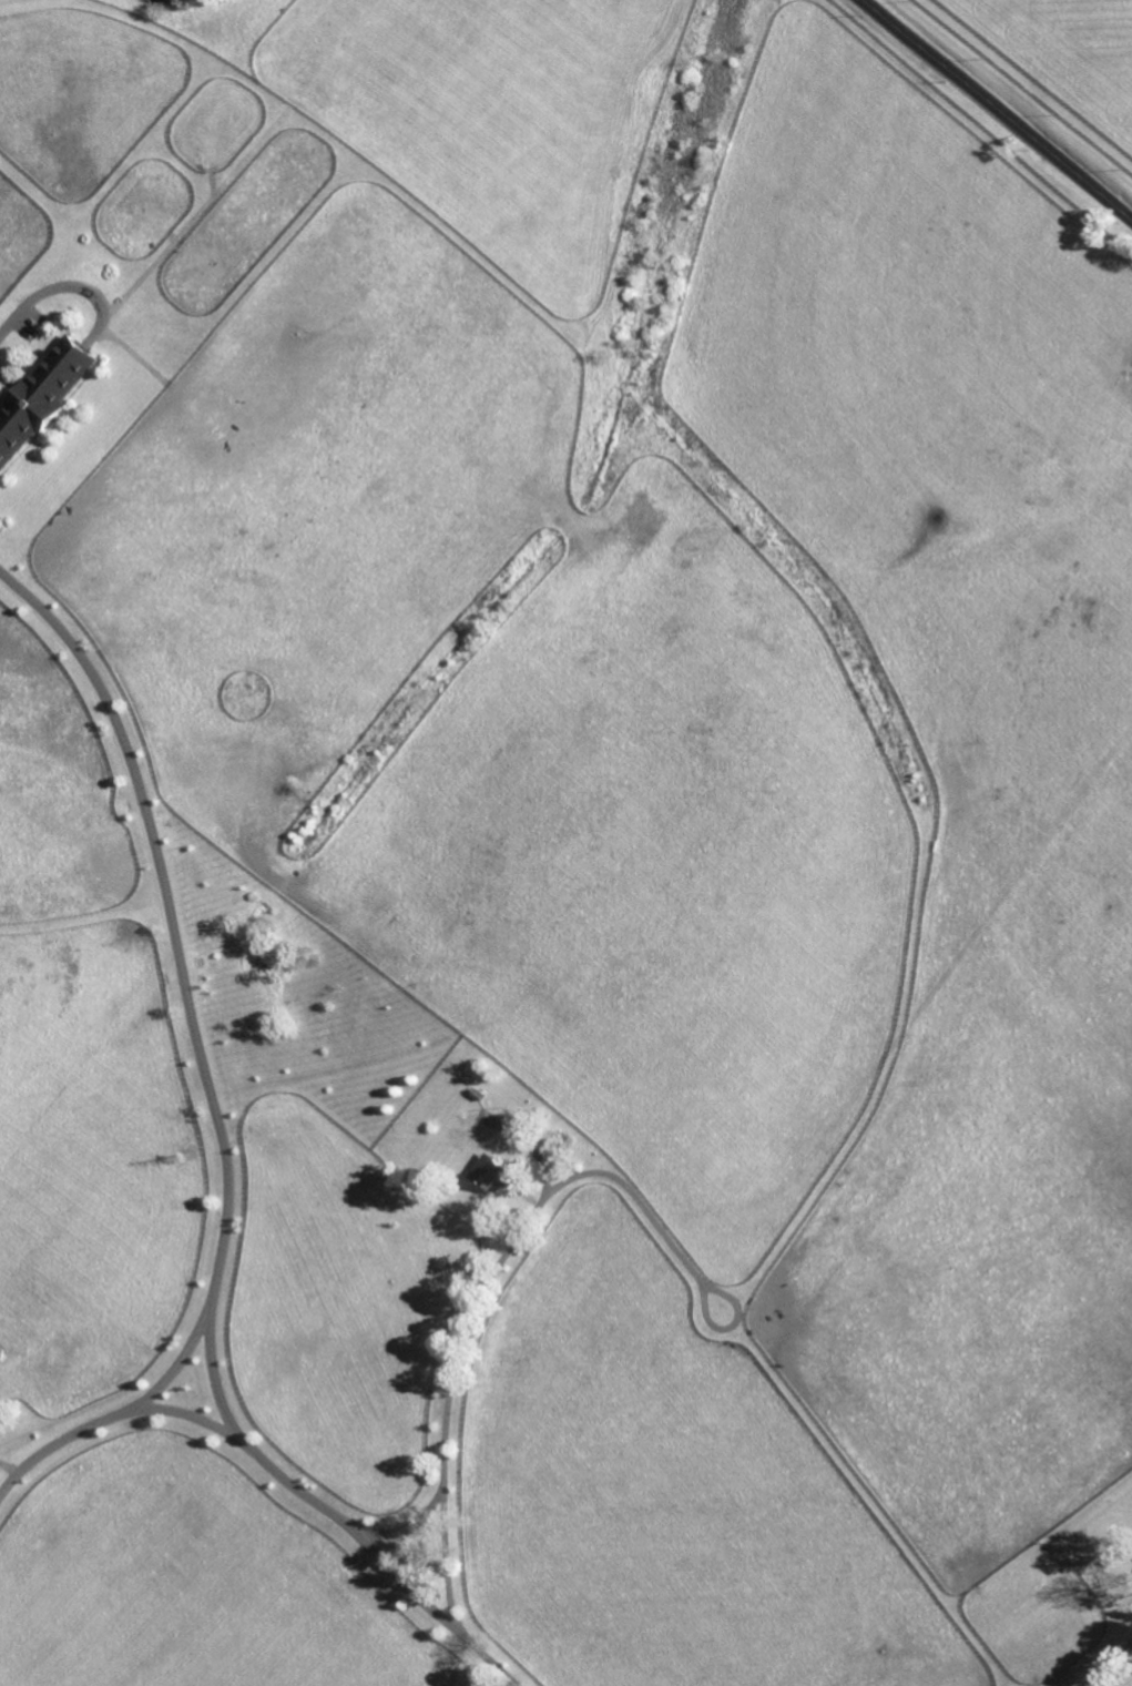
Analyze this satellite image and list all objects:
road: (996, 111)
road: (64, 287)
building: (43, 395)
building: (294, 906)
road: (182, 983)
building: (475, 1094)
building: (465, 1108)
building: (578, 1146)
building: (489, 1174)
road: (516, 1242)
road: (172, 1367)
road: (271, 1469)
road: (406, 1531)
building: (370, 1591)
building: (1055, 1654)
road: (1104, 1663)

